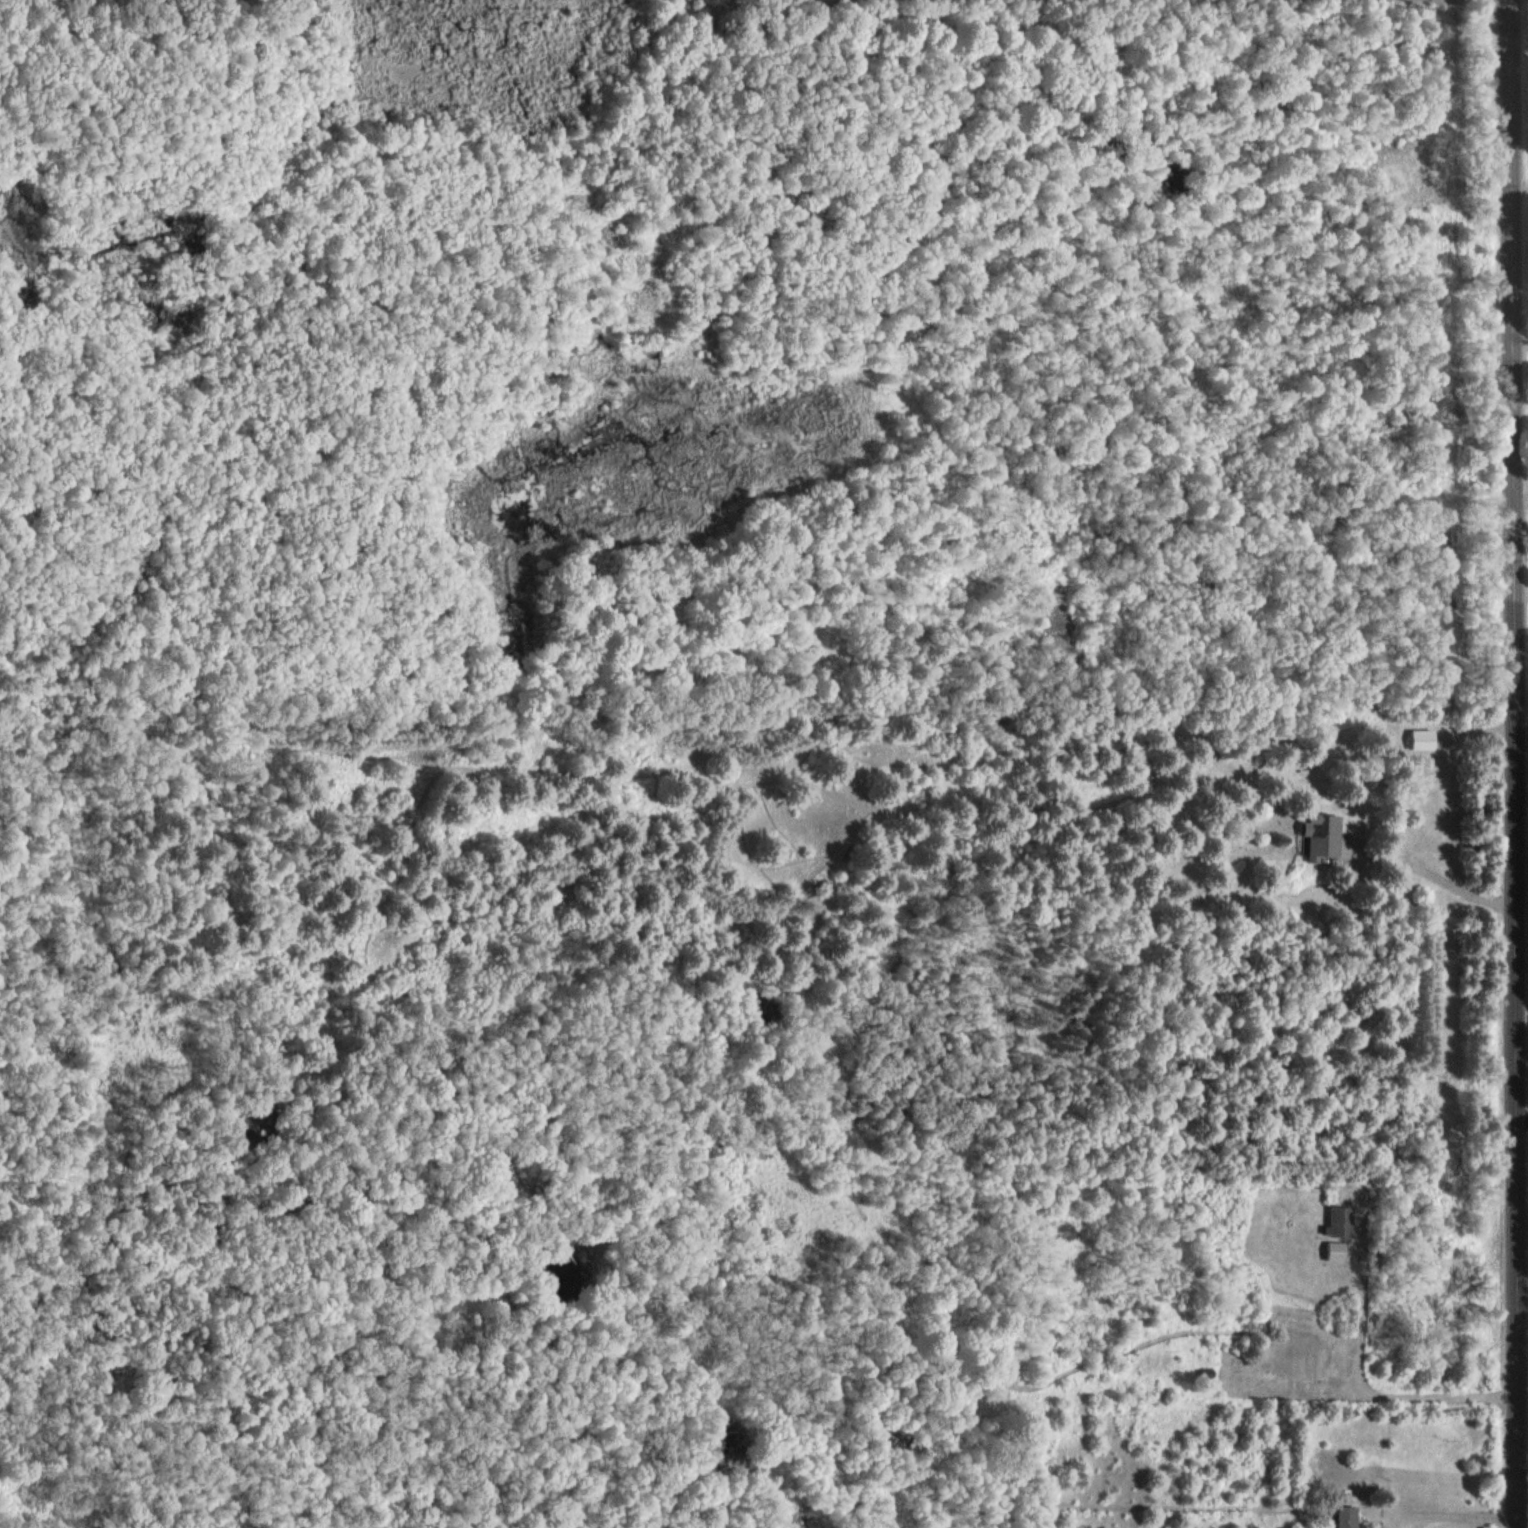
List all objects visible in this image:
building: (1421, 738)
road: (1511, 764)
building: (1329, 842)
building: (1338, 1221)
building: (1332, 1254)
building: (1343, 1516)

